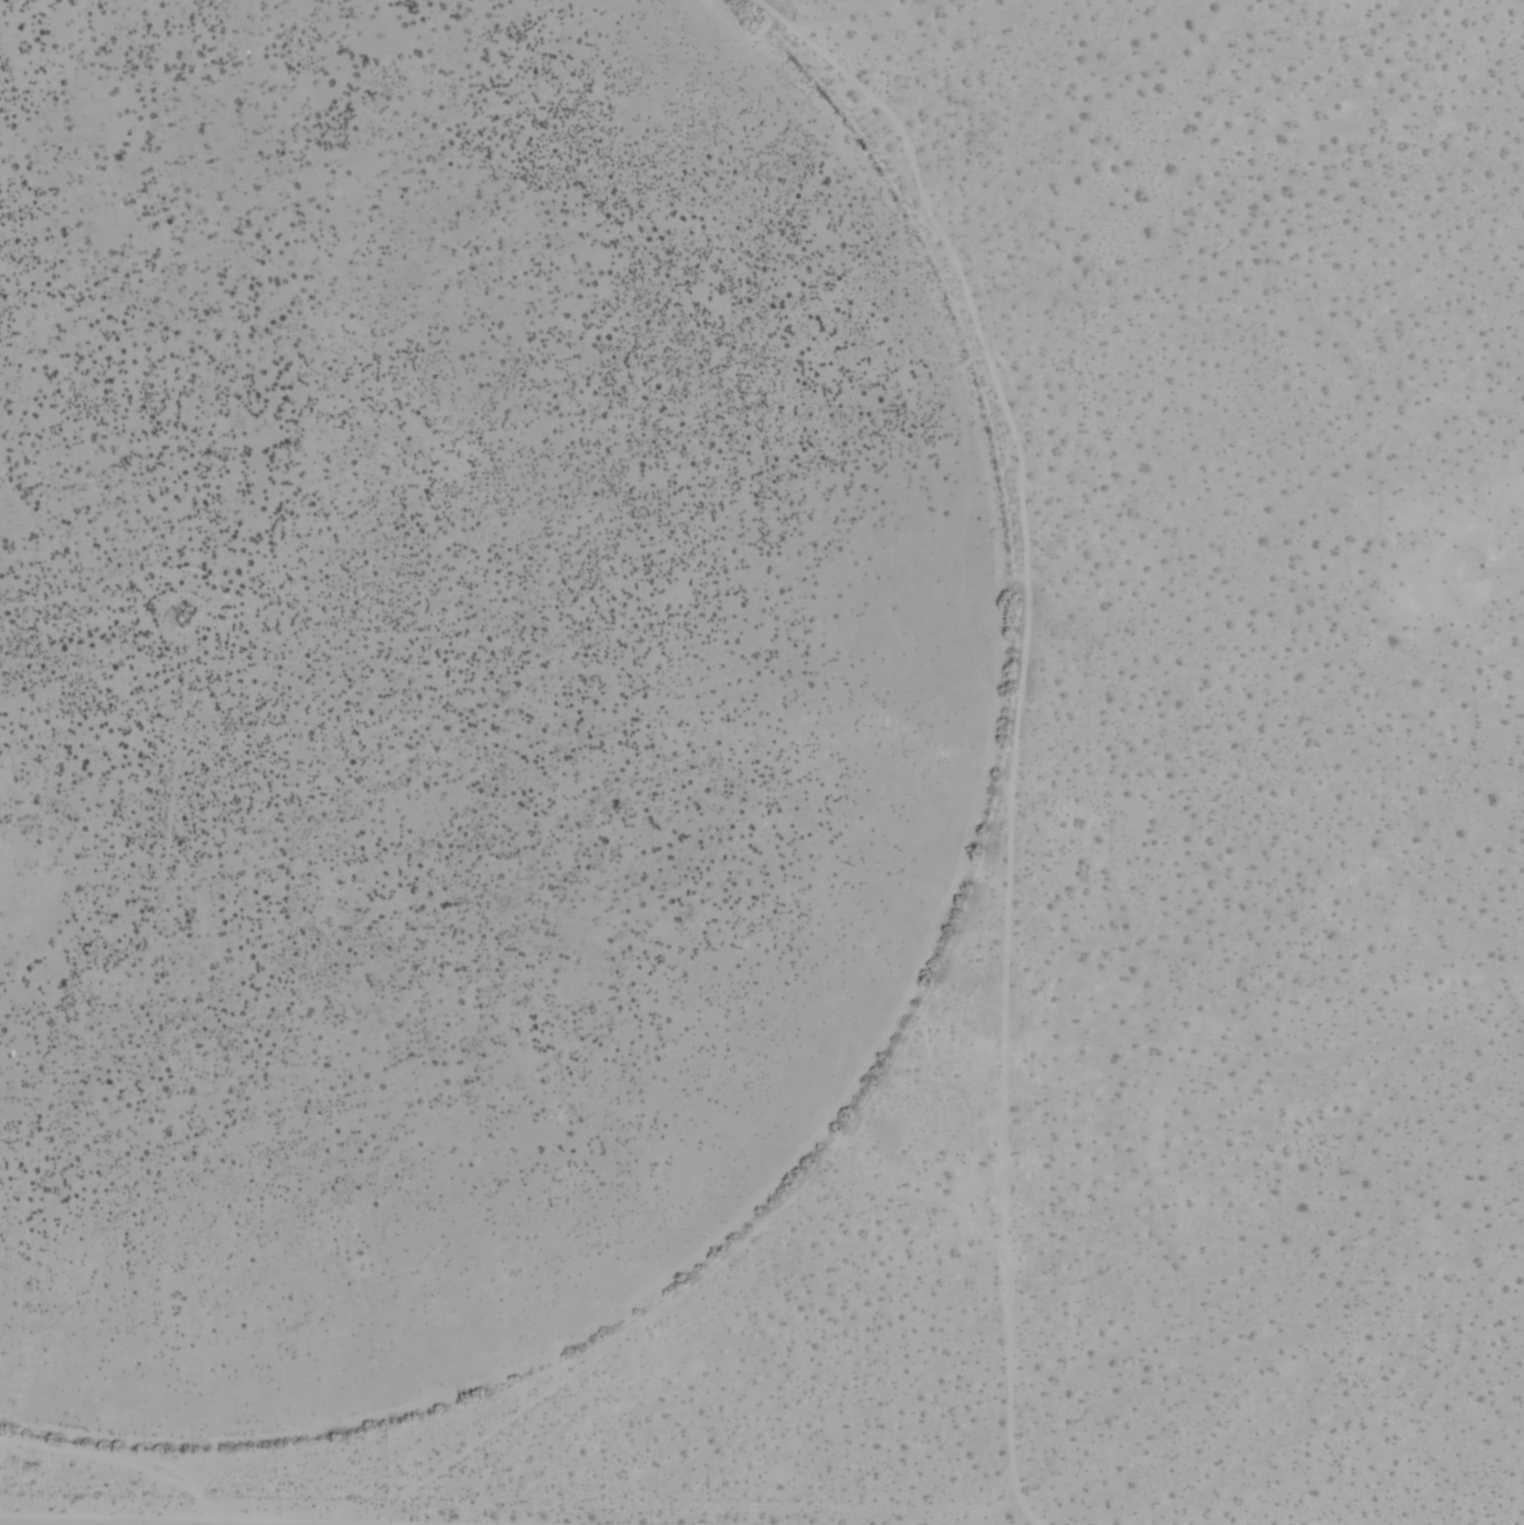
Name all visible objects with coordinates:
road: (138, 1522)

